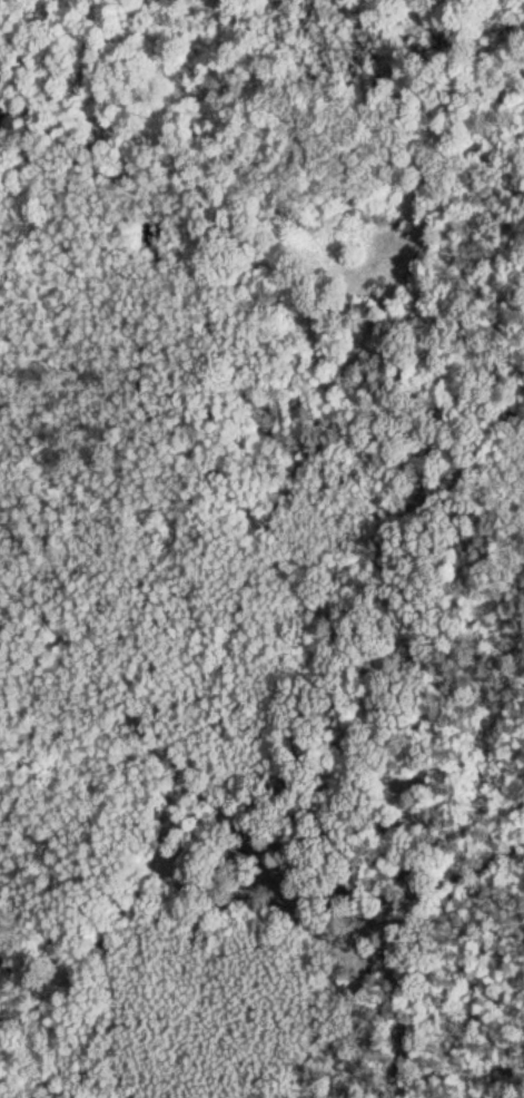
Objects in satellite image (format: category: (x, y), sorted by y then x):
road: (350, 919)

